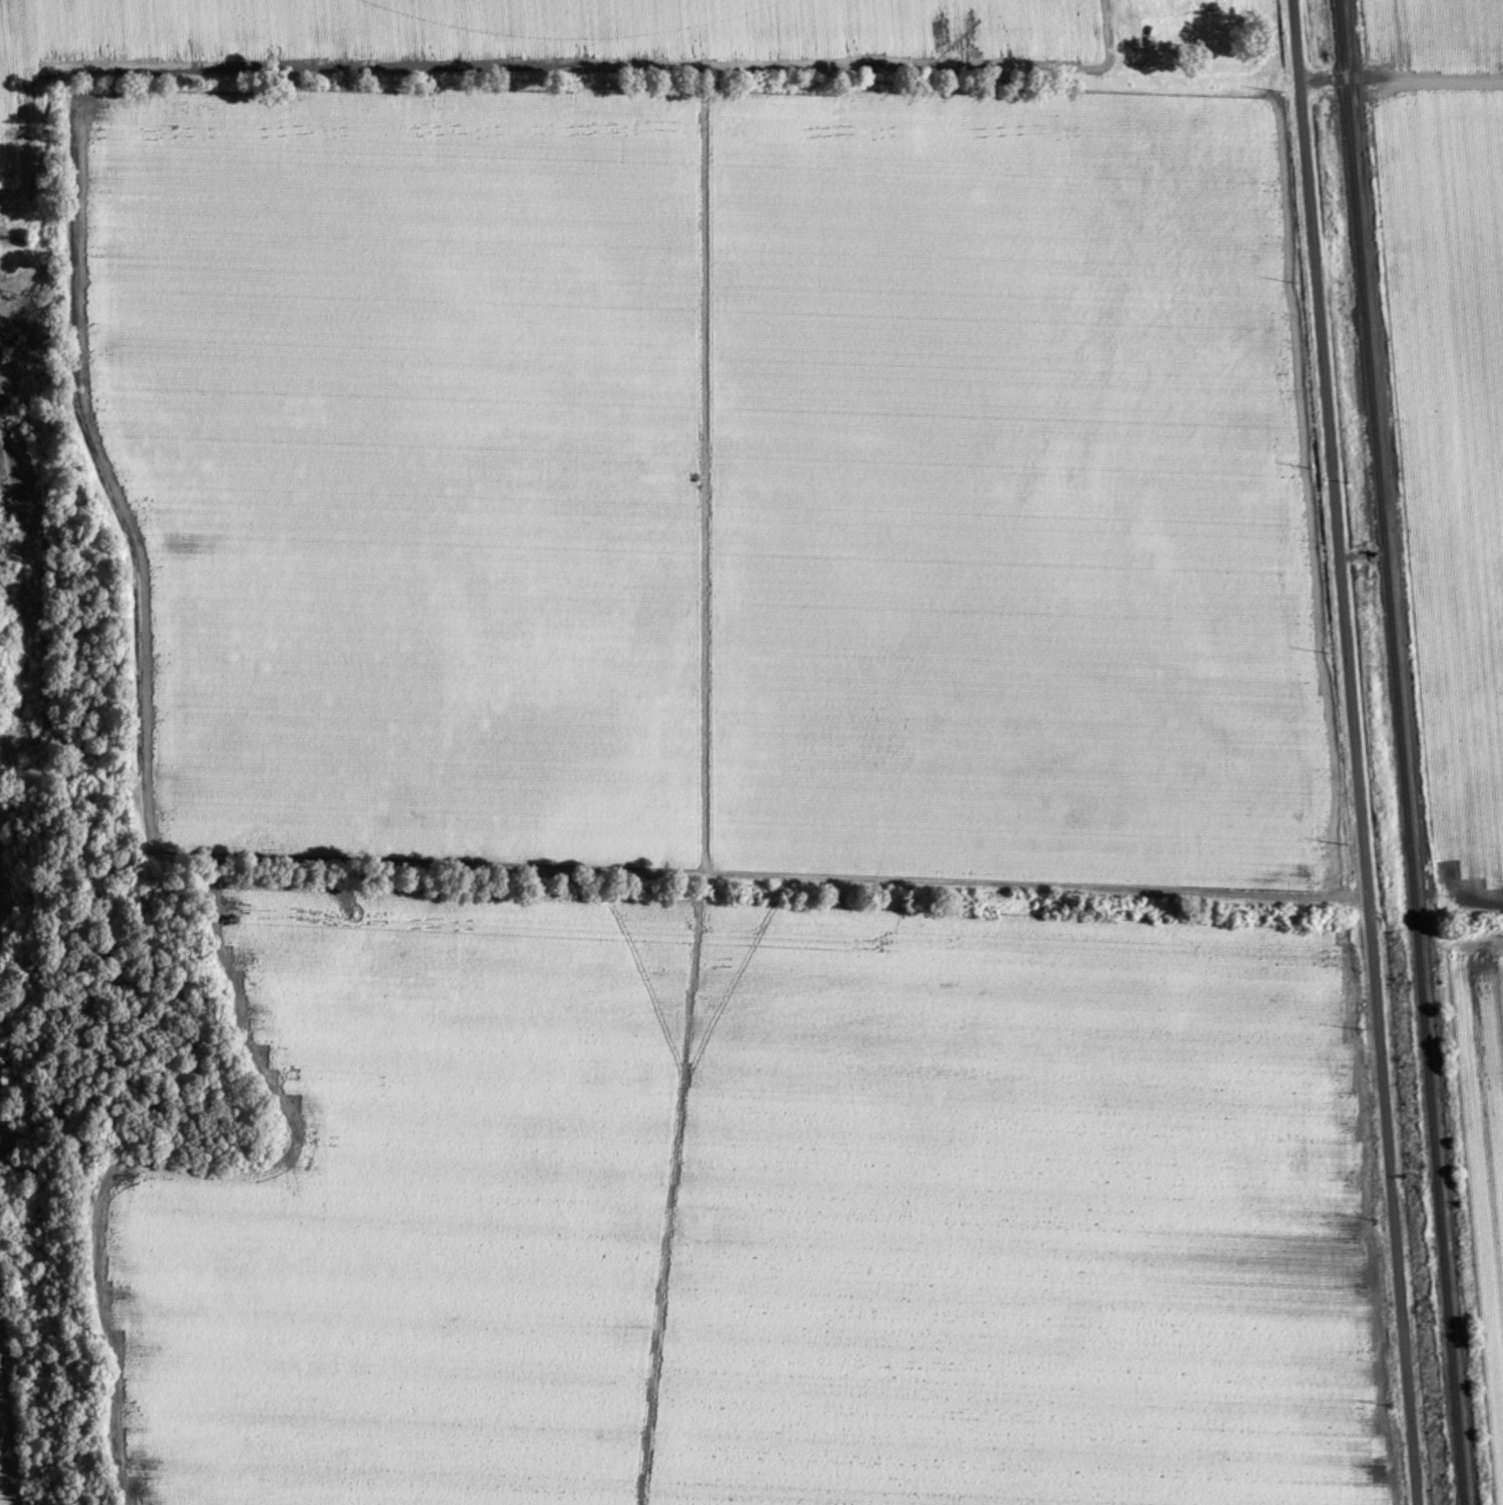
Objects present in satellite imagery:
road: (1401, 79)
road: (1356, 752)
railway: (1403, 752)

